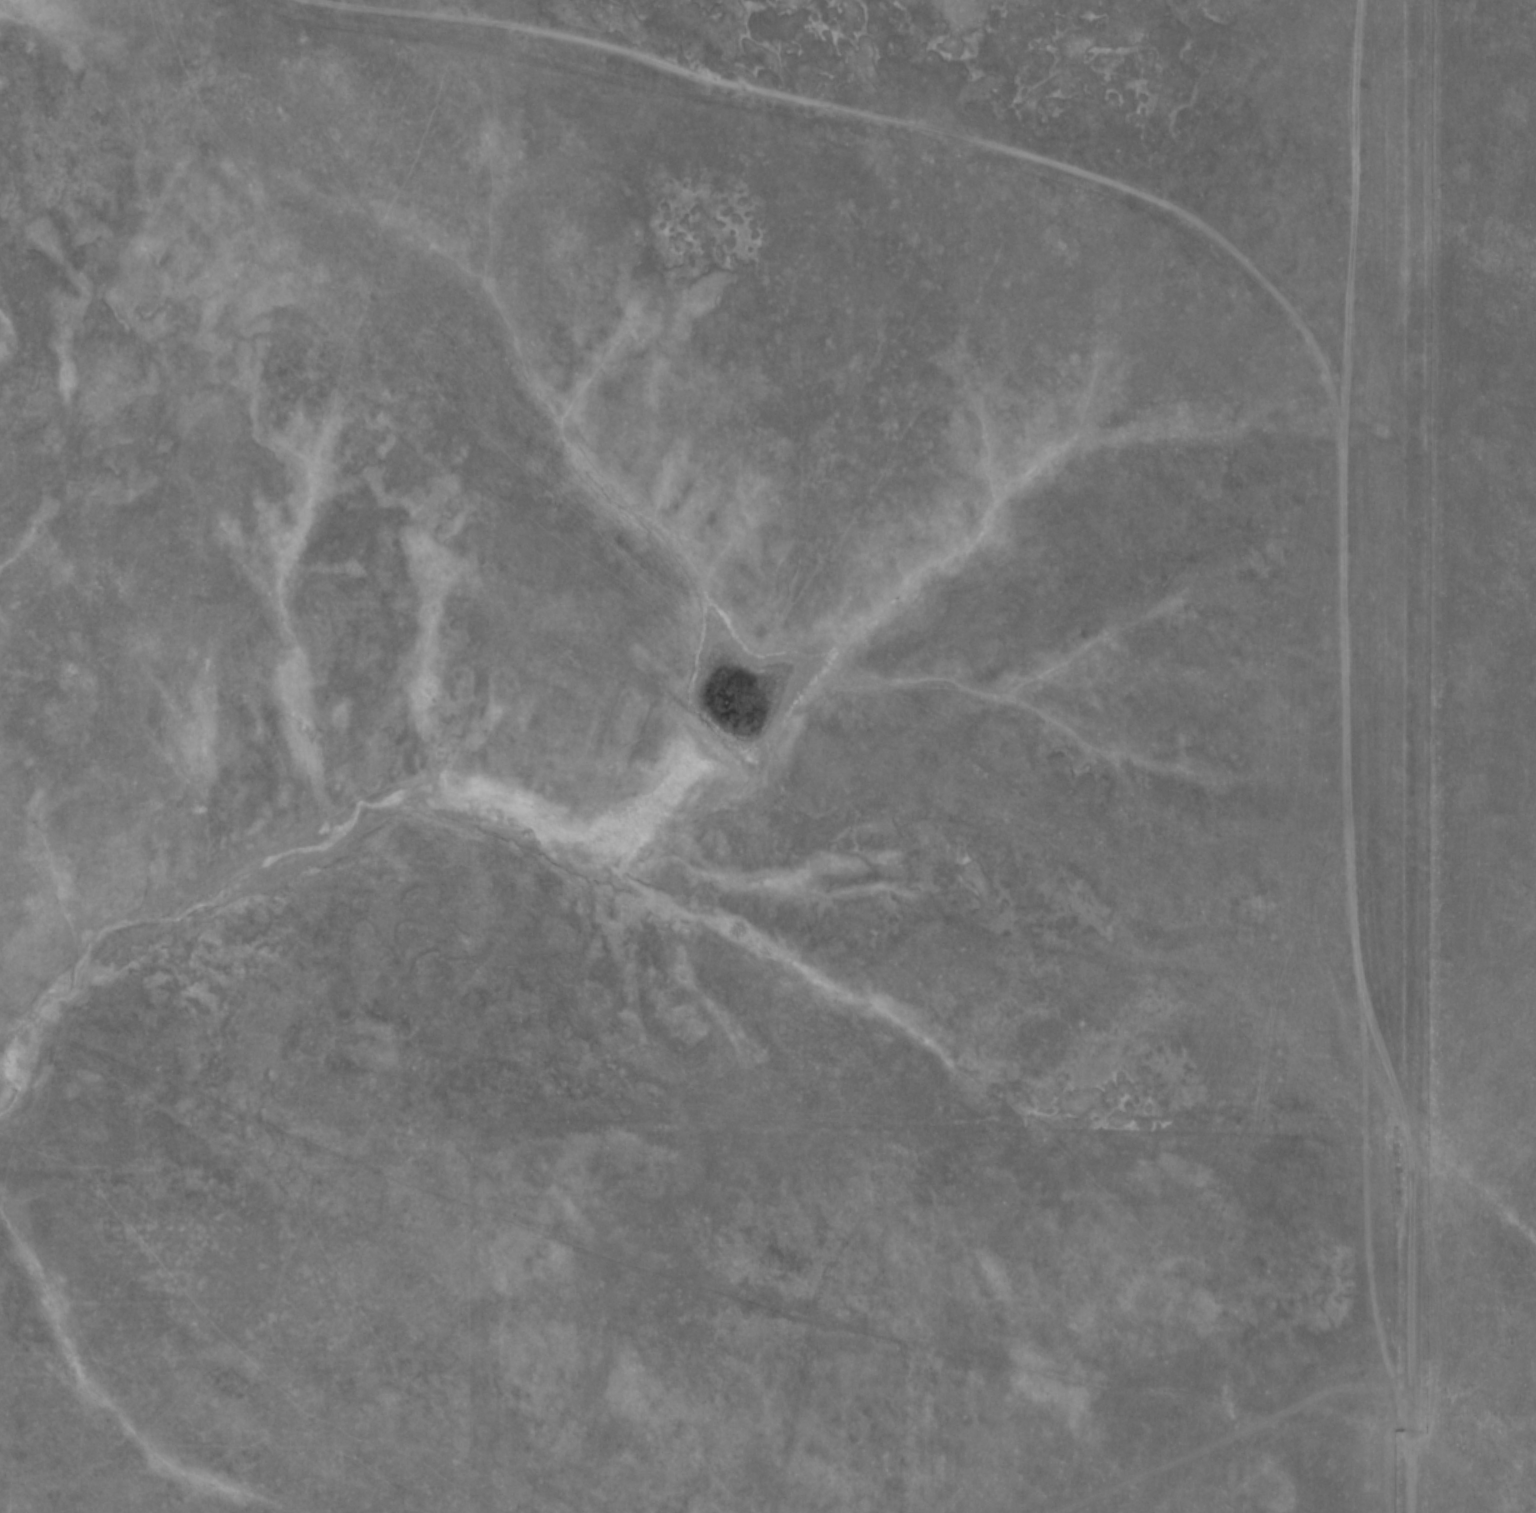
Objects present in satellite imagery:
road: (1409, 1332)

